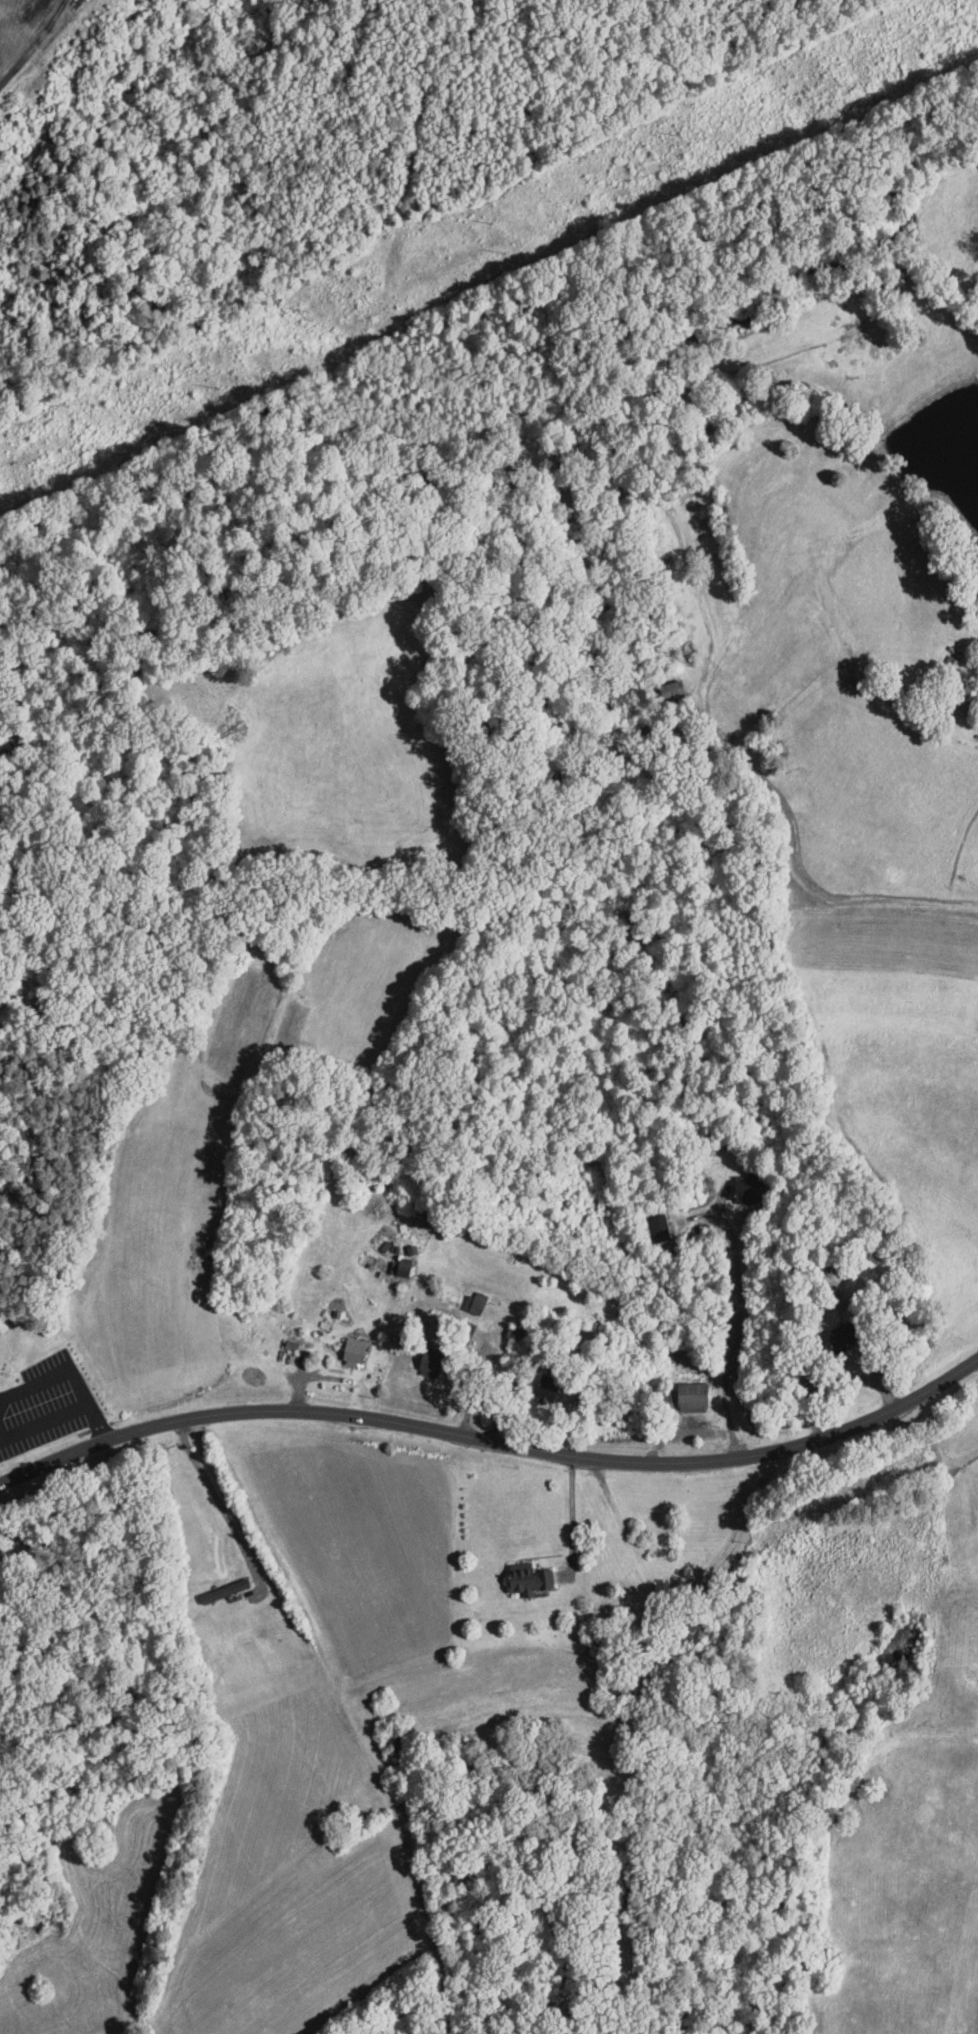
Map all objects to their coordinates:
road: (36, 46)
building: (749, 1191)
building: (402, 1267)
building: (476, 1303)
road: (738, 1322)
building: (839, 1338)
building: (355, 1352)
building: (434, 1358)
building: (548, 1388)
building: (693, 1397)
road: (493, 1440)
road: (572, 1516)
building: (530, 1579)

